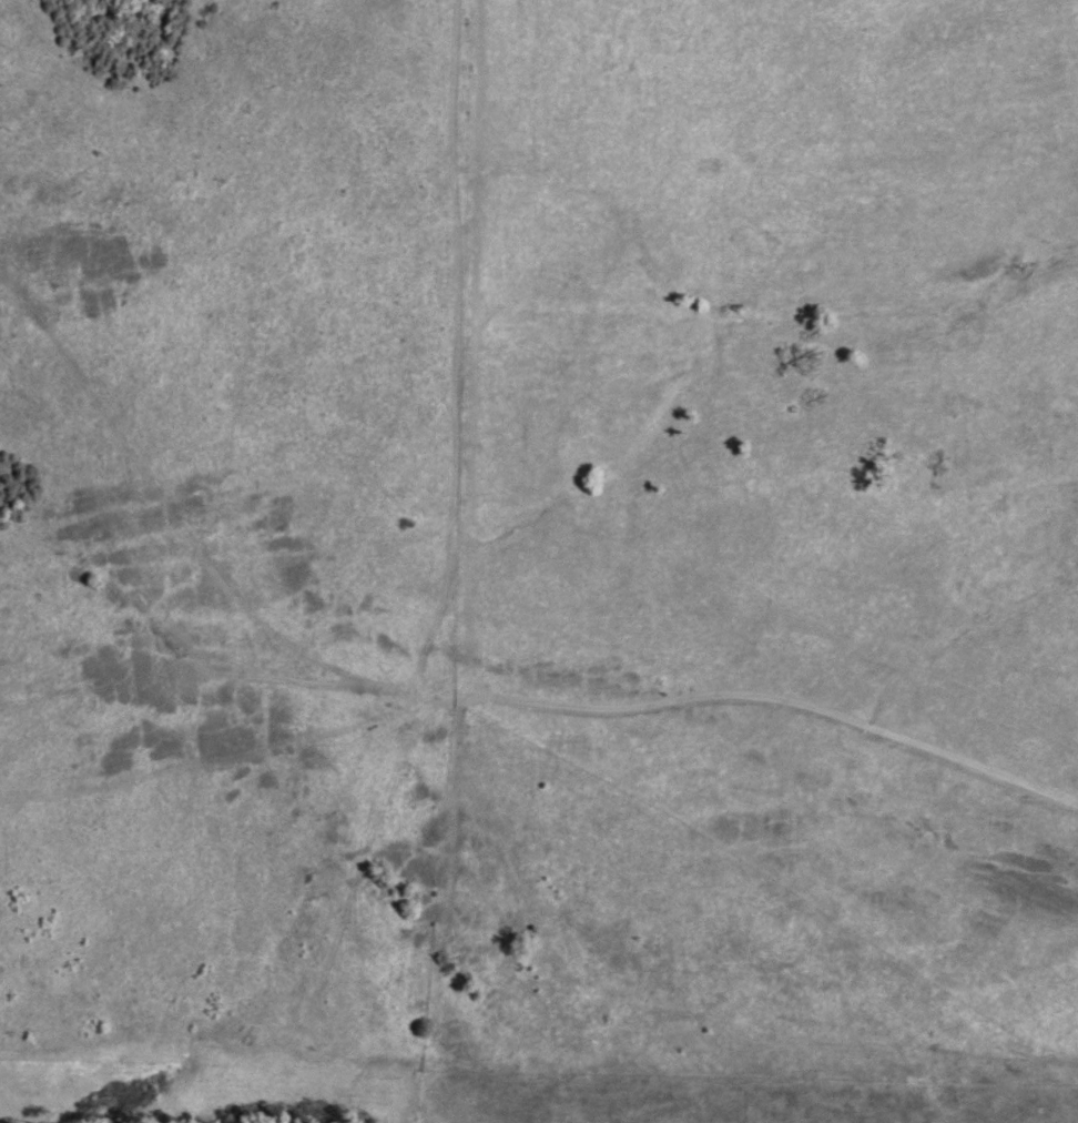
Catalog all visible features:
road: (817, 731)

